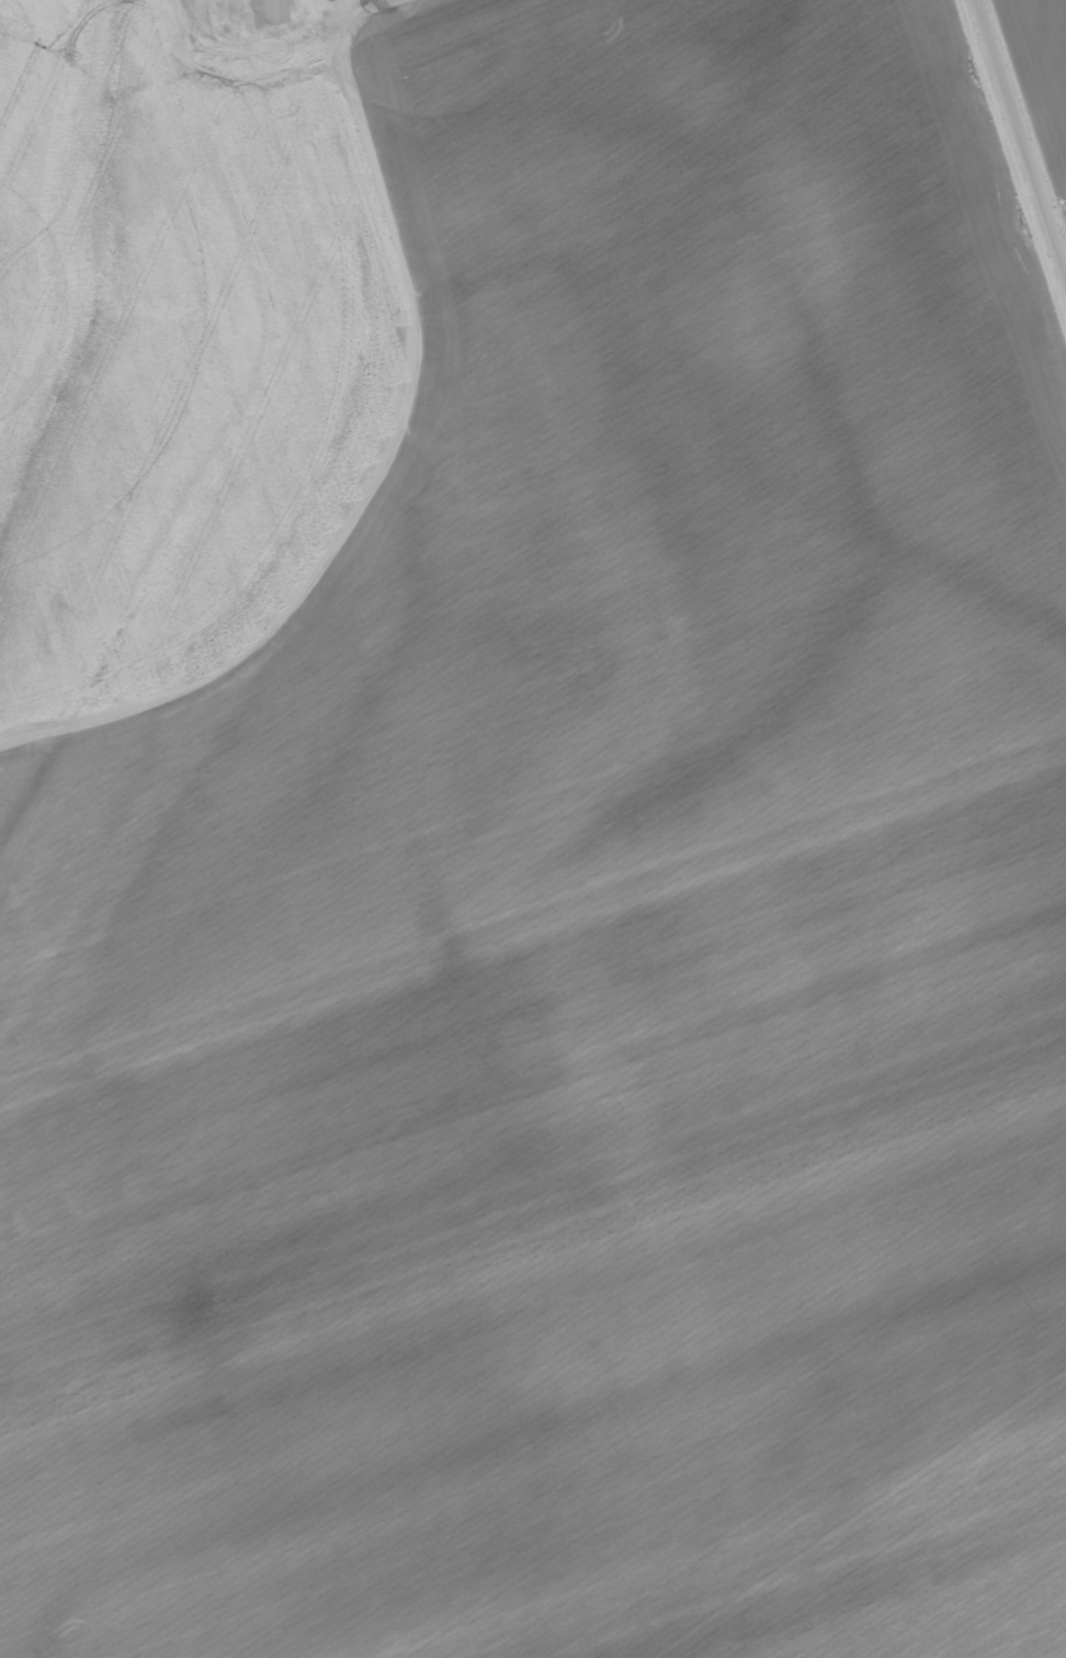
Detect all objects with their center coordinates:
airport runway: (274, 5)
road: (296, 81)
road: (1022, 132)

